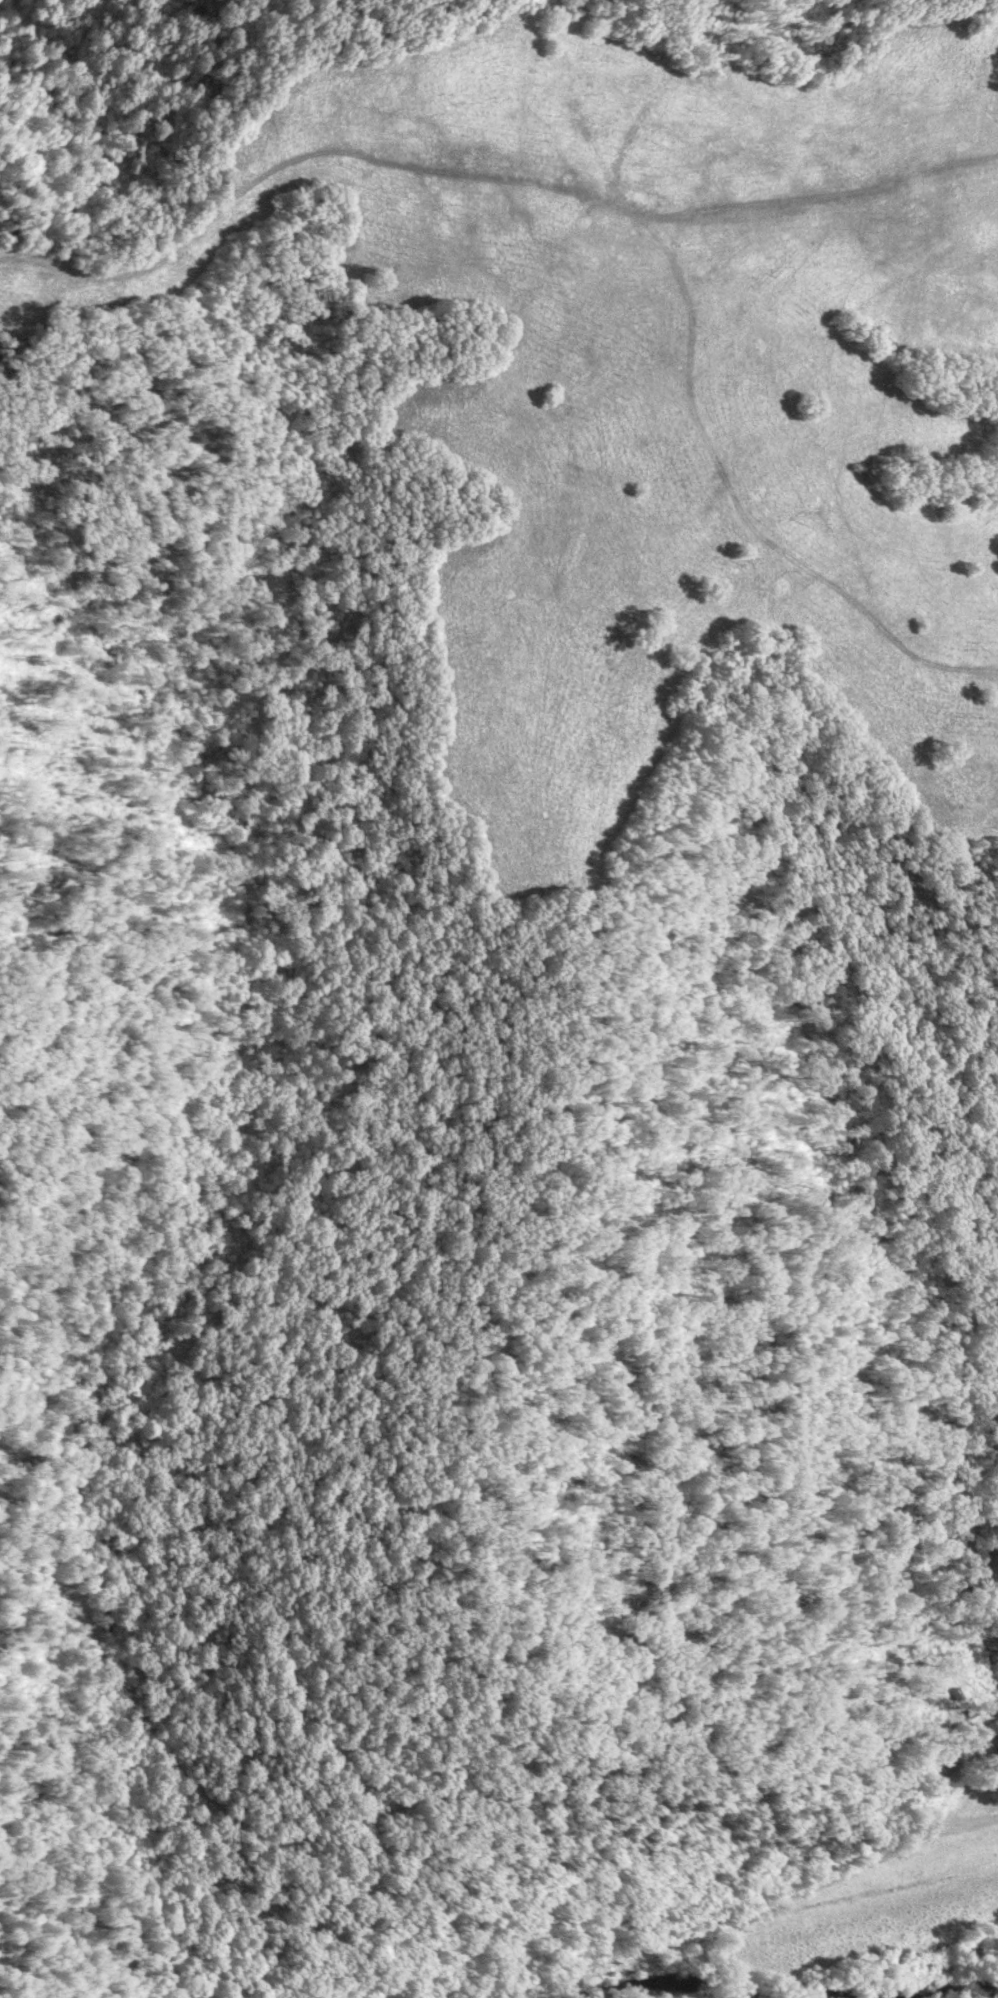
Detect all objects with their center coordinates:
road: (756, 1911)

